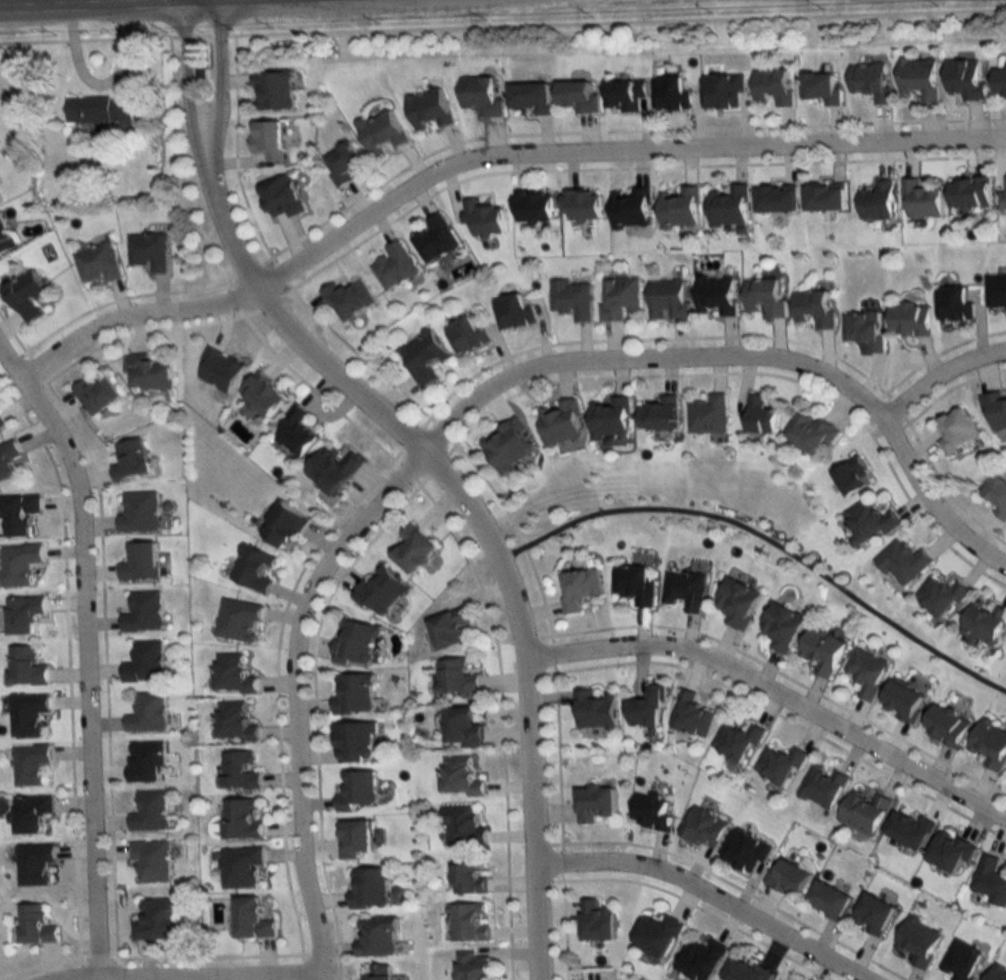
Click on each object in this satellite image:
road: (19, 3)
road: (115, 3)
building: (919, 77)
building: (965, 79)
building: (869, 80)
building: (1000, 82)
building: (774, 86)
building: (822, 87)
building: (723, 89)
building: (273, 90)
building: (671, 92)
building: (625, 94)
building: (480, 95)
building: (578, 95)
building: (530, 96)
building: (99, 108)
building: (429, 109)
road: (201, 112)
building: (381, 131)
building: (268, 139)
road: (609, 157)
building: (342, 162)
building: (969, 193)
building: (823, 197)
building: (280, 198)
building: (775, 198)
building: (877, 200)
building: (920, 200)
building: (1002, 201)
building: (581, 204)
building: (533, 205)
building: (728, 206)
building: (630, 207)
building: (679, 208)
building: (483, 218)
building: (5, 236)
building: (434, 238)
building: (148, 252)
building: (97, 263)
building: (394, 265)
building: (997, 293)
building: (25, 295)
building: (715, 295)
building: (764, 296)
building: (619, 297)
building: (348, 299)
building: (571, 299)
building: (666, 299)
building: (954, 304)
building: (812, 308)
building: (512, 311)
building: (910, 319)
road: (130, 321)
building: (862, 329)
building: (465, 335)
building: (422, 358)
road: (747, 360)
building: (218, 370)
building: (148, 372)
road: (939, 378)
building: (261, 394)
building: (96, 395)
building: (995, 411)
building: (656, 414)
building: (707, 415)
building: (758, 415)
building: (607, 417)
building: (559, 423)
building: (1, 424)
building: (955, 430)
building: (295, 431)
building: (809, 432)
building: (506, 445)
building: (7, 460)
building: (130, 460)
building: (332, 469)
building: (851, 476)
building: (997, 495)
road: (459, 505)
building: (139, 512)
building: (18, 514)
building: (868, 521)
building: (282, 525)
building: (411, 548)
road: (764, 550)
building: (140, 562)
building: (902, 562)
building: (19, 564)
building: (253, 569)
building: (632, 584)
building: (577, 588)
building: (684, 590)
building: (380, 591)
building: (939, 597)
building: (735, 602)
building: (143, 612)
building: (23, 614)
building: (238, 621)
building: (984, 621)
building: (780, 627)
building: (449, 628)
building: (354, 643)
building: (822, 650)
road: (85, 652)
building: (144, 662)
building: (25, 667)
building: (866, 672)
building: (233, 674)
building: (455, 679)
building: (352, 693)
road: (297, 698)
road: (774, 699)
building: (644, 708)
building: (593, 709)
building: (147, 712)
building: (27, 714)
building: (690, 715)
building: (235, 722)
building: (945, 724)
building: (460, 726)
building: (354, 741)
building: (735, 742)
building: (988, 744)
building: (145, 761)
building: (29, 764)
building: (778, 765)
building: (239, 771)
building: (459, 777)
building: (822, 786)
building: (354, 789)
building: (592, 803)
building: (149, 812)
building: (864, 812)
building: (30, 813)
building: (650, 813)
building: (242, 819)
building: (460, 826)
building: (702, 828)
building: (908, 829)
building: (745, 851)
building: (950, 851)
building: (151, 862)
building: (34, 864)
building: (240, 867)
building: (787, 877)
building: (467, 878)
building: (990, 880)
building: (368, 888)
road: (699, 897)
building: (828, 901)
building: (873, 914)
building: (250, 919)
building: (155, 920)
building: (595, 921)
building: (466, 922)
building: (35, 925)
building: (655, 935)
building: (375, 937)
building: (917, 941)
building: (699, 959)
building: (962, 961)
building: (471, 966)
building: (742, 971)
building: (375, 973)
building: (997, 973)
road: (190, 976)

